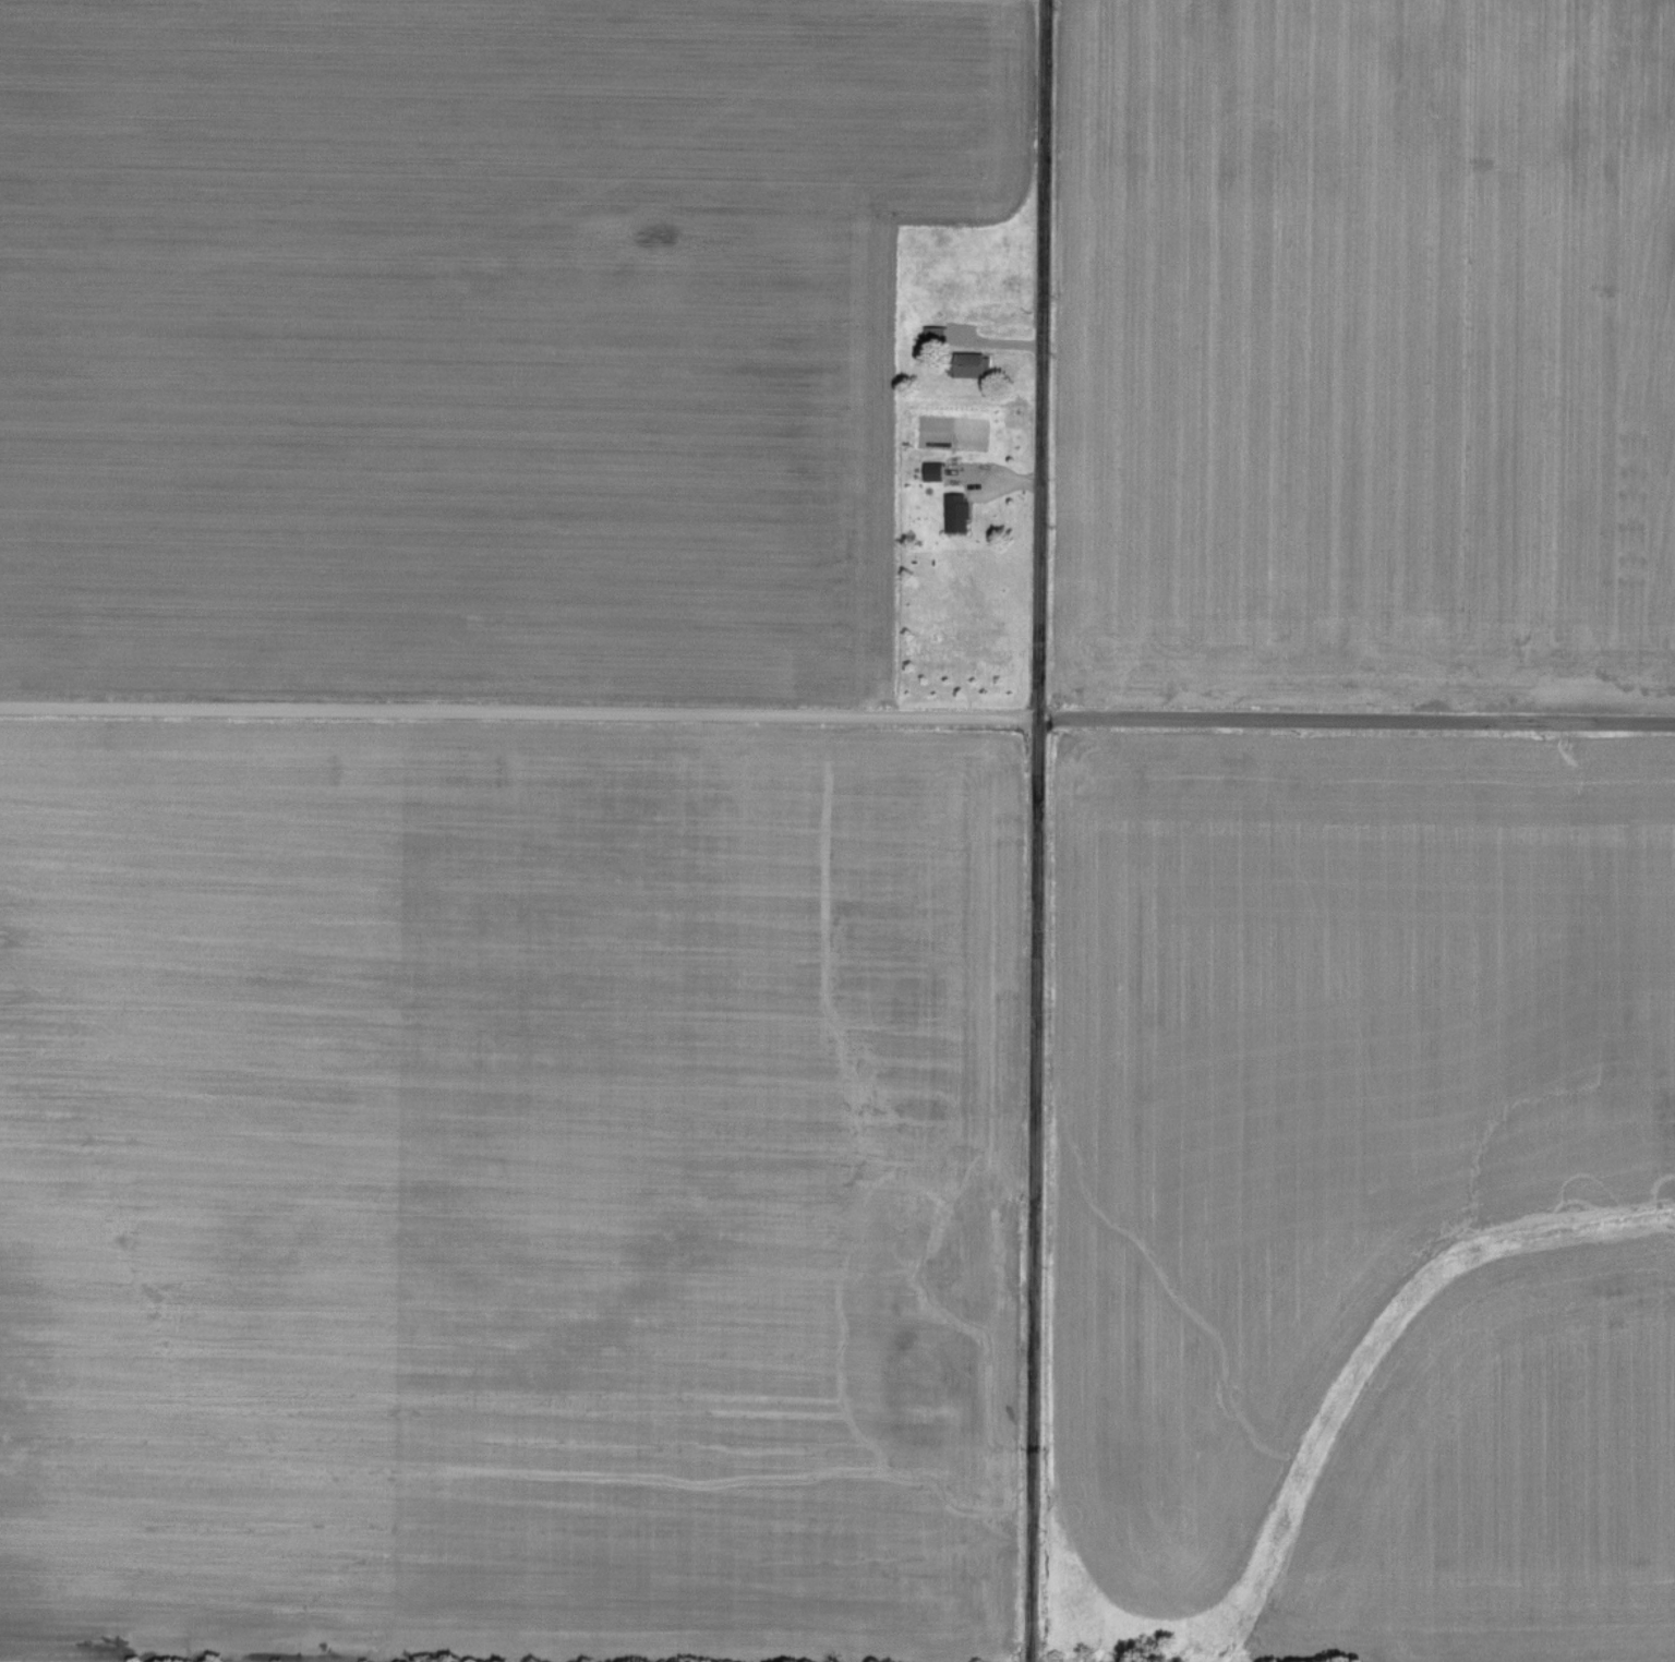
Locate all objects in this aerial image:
road: (1043, 356)
road: (518, 710)
road: (1355, 715)
road: (1037, 1187)

